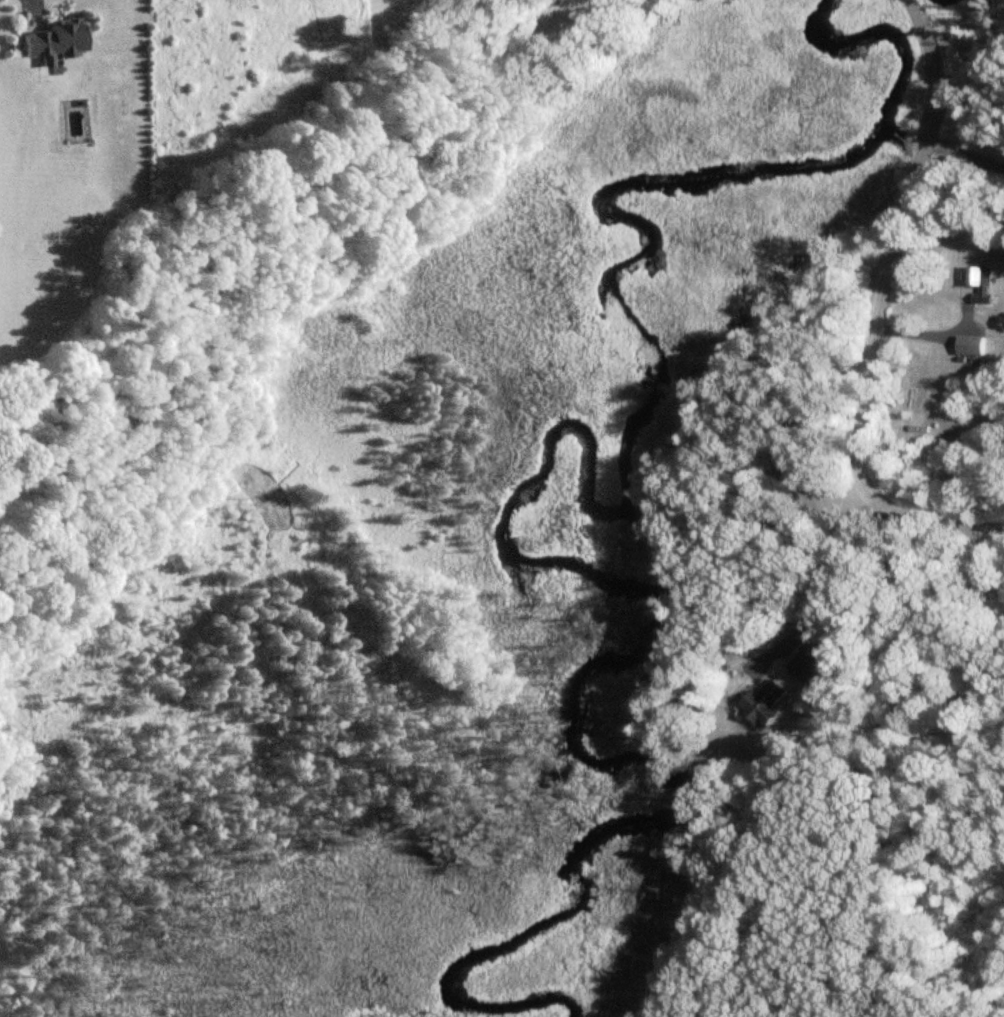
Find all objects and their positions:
road: (39, 5)
building: (53, 41)
road: (965, 149)
building: (983, 285)
road: (877, 314)
road: (933, 334)
building: (970, 346)
building: (806, 663)
building: (762, 705)

